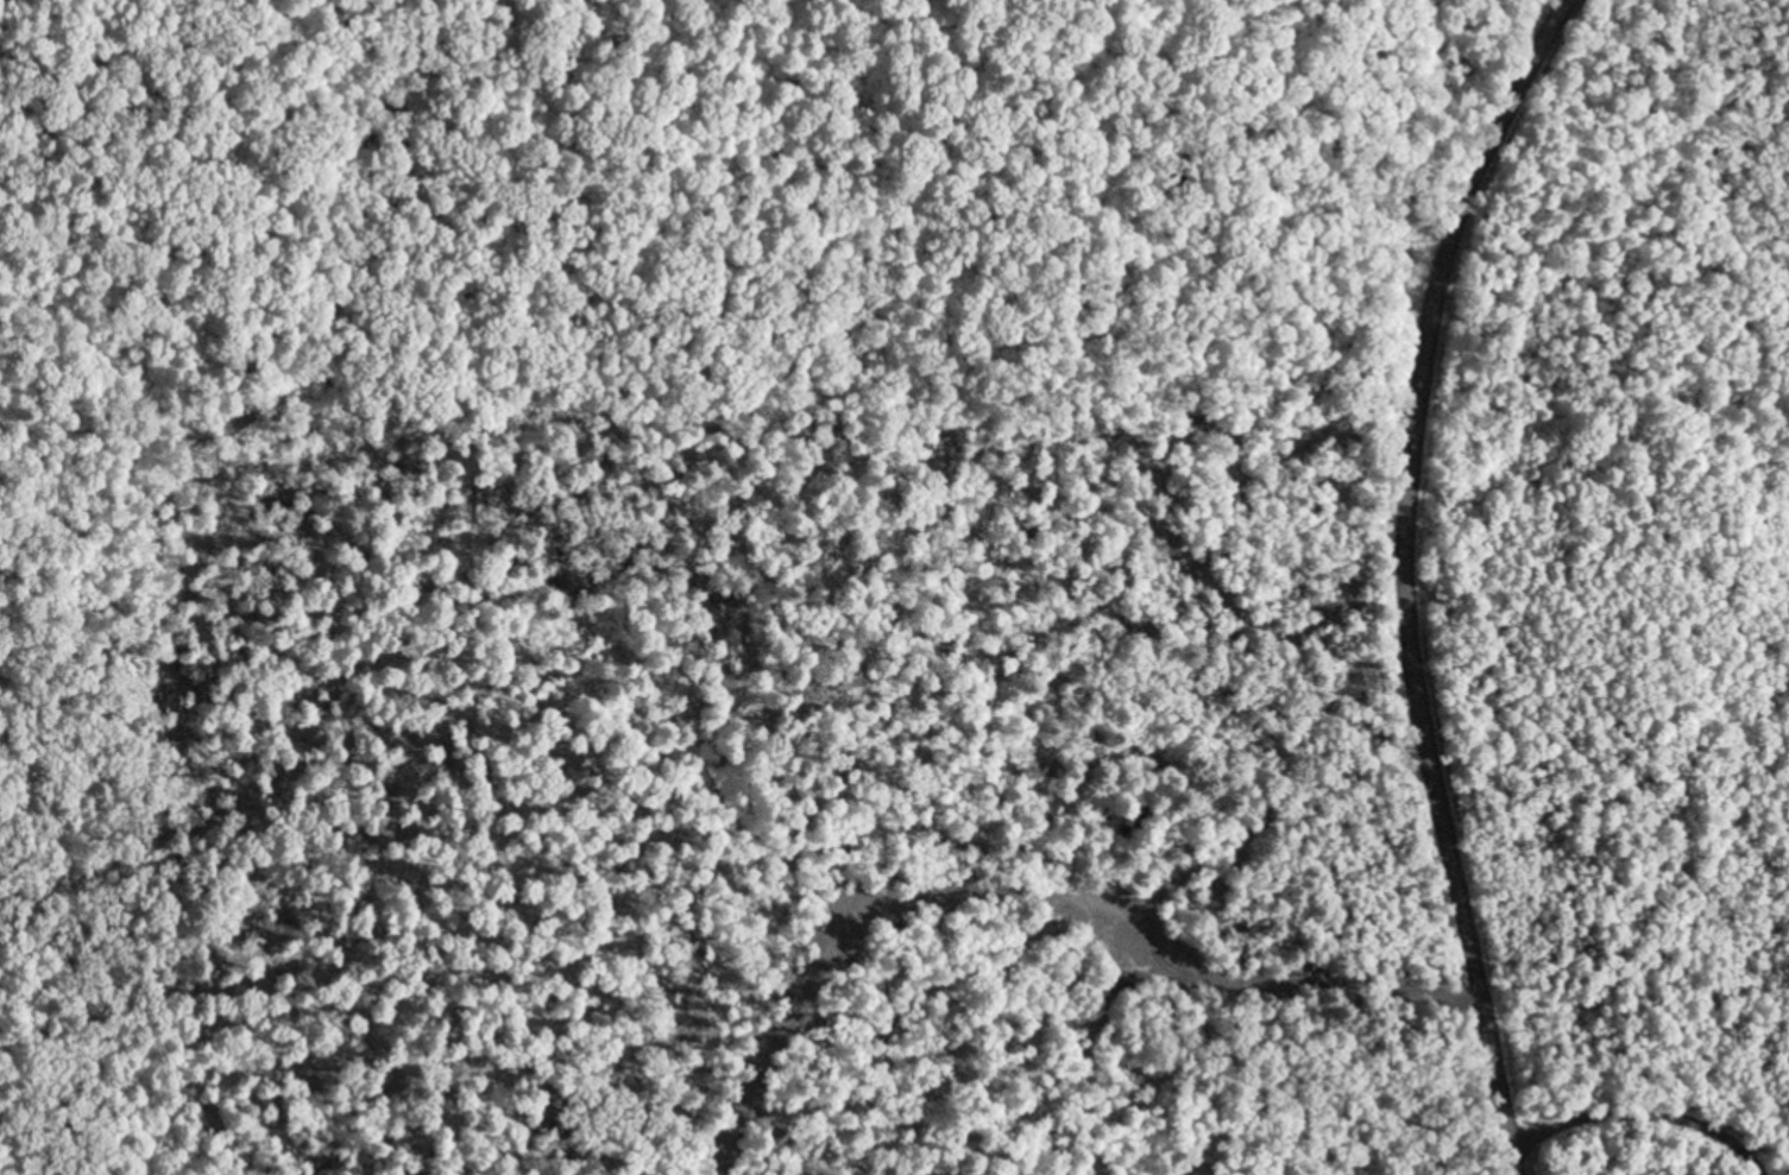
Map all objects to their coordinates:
road: (1086, 64)
road: (1406, 577)
building: (1132, 821)

